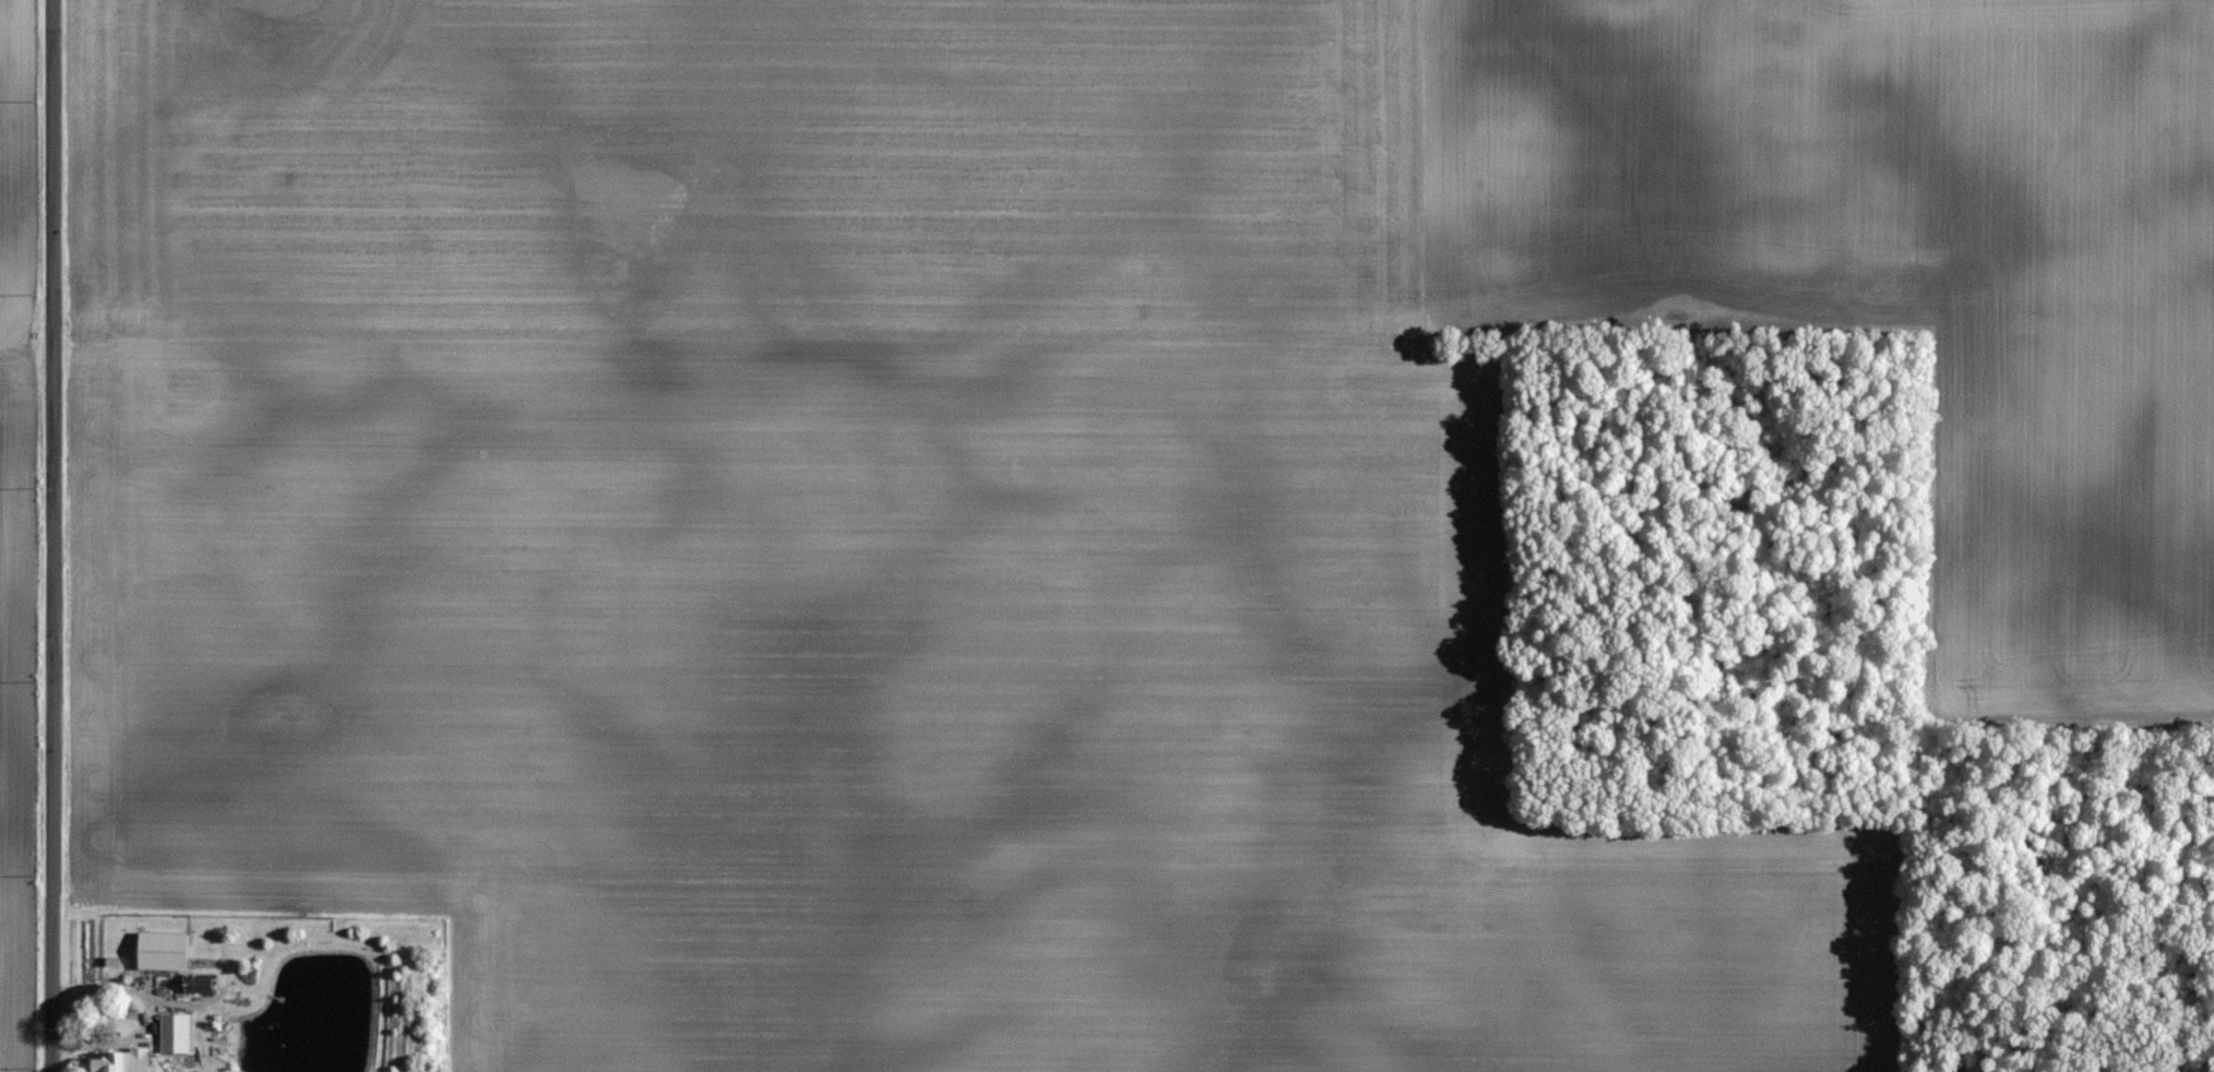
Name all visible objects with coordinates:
road: (53, 535)
building: (171, 1033)
building: (122, 1060)

